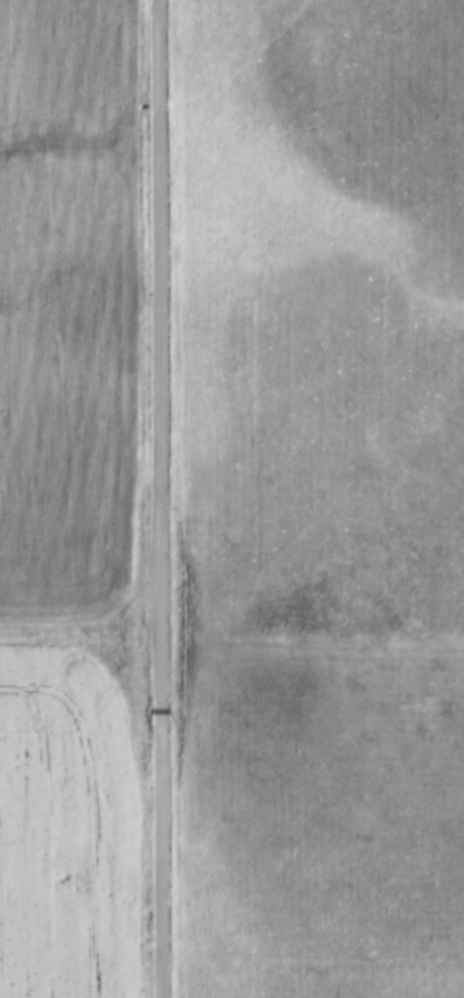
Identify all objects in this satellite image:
road: (156, 499)
road: (78, 624)

